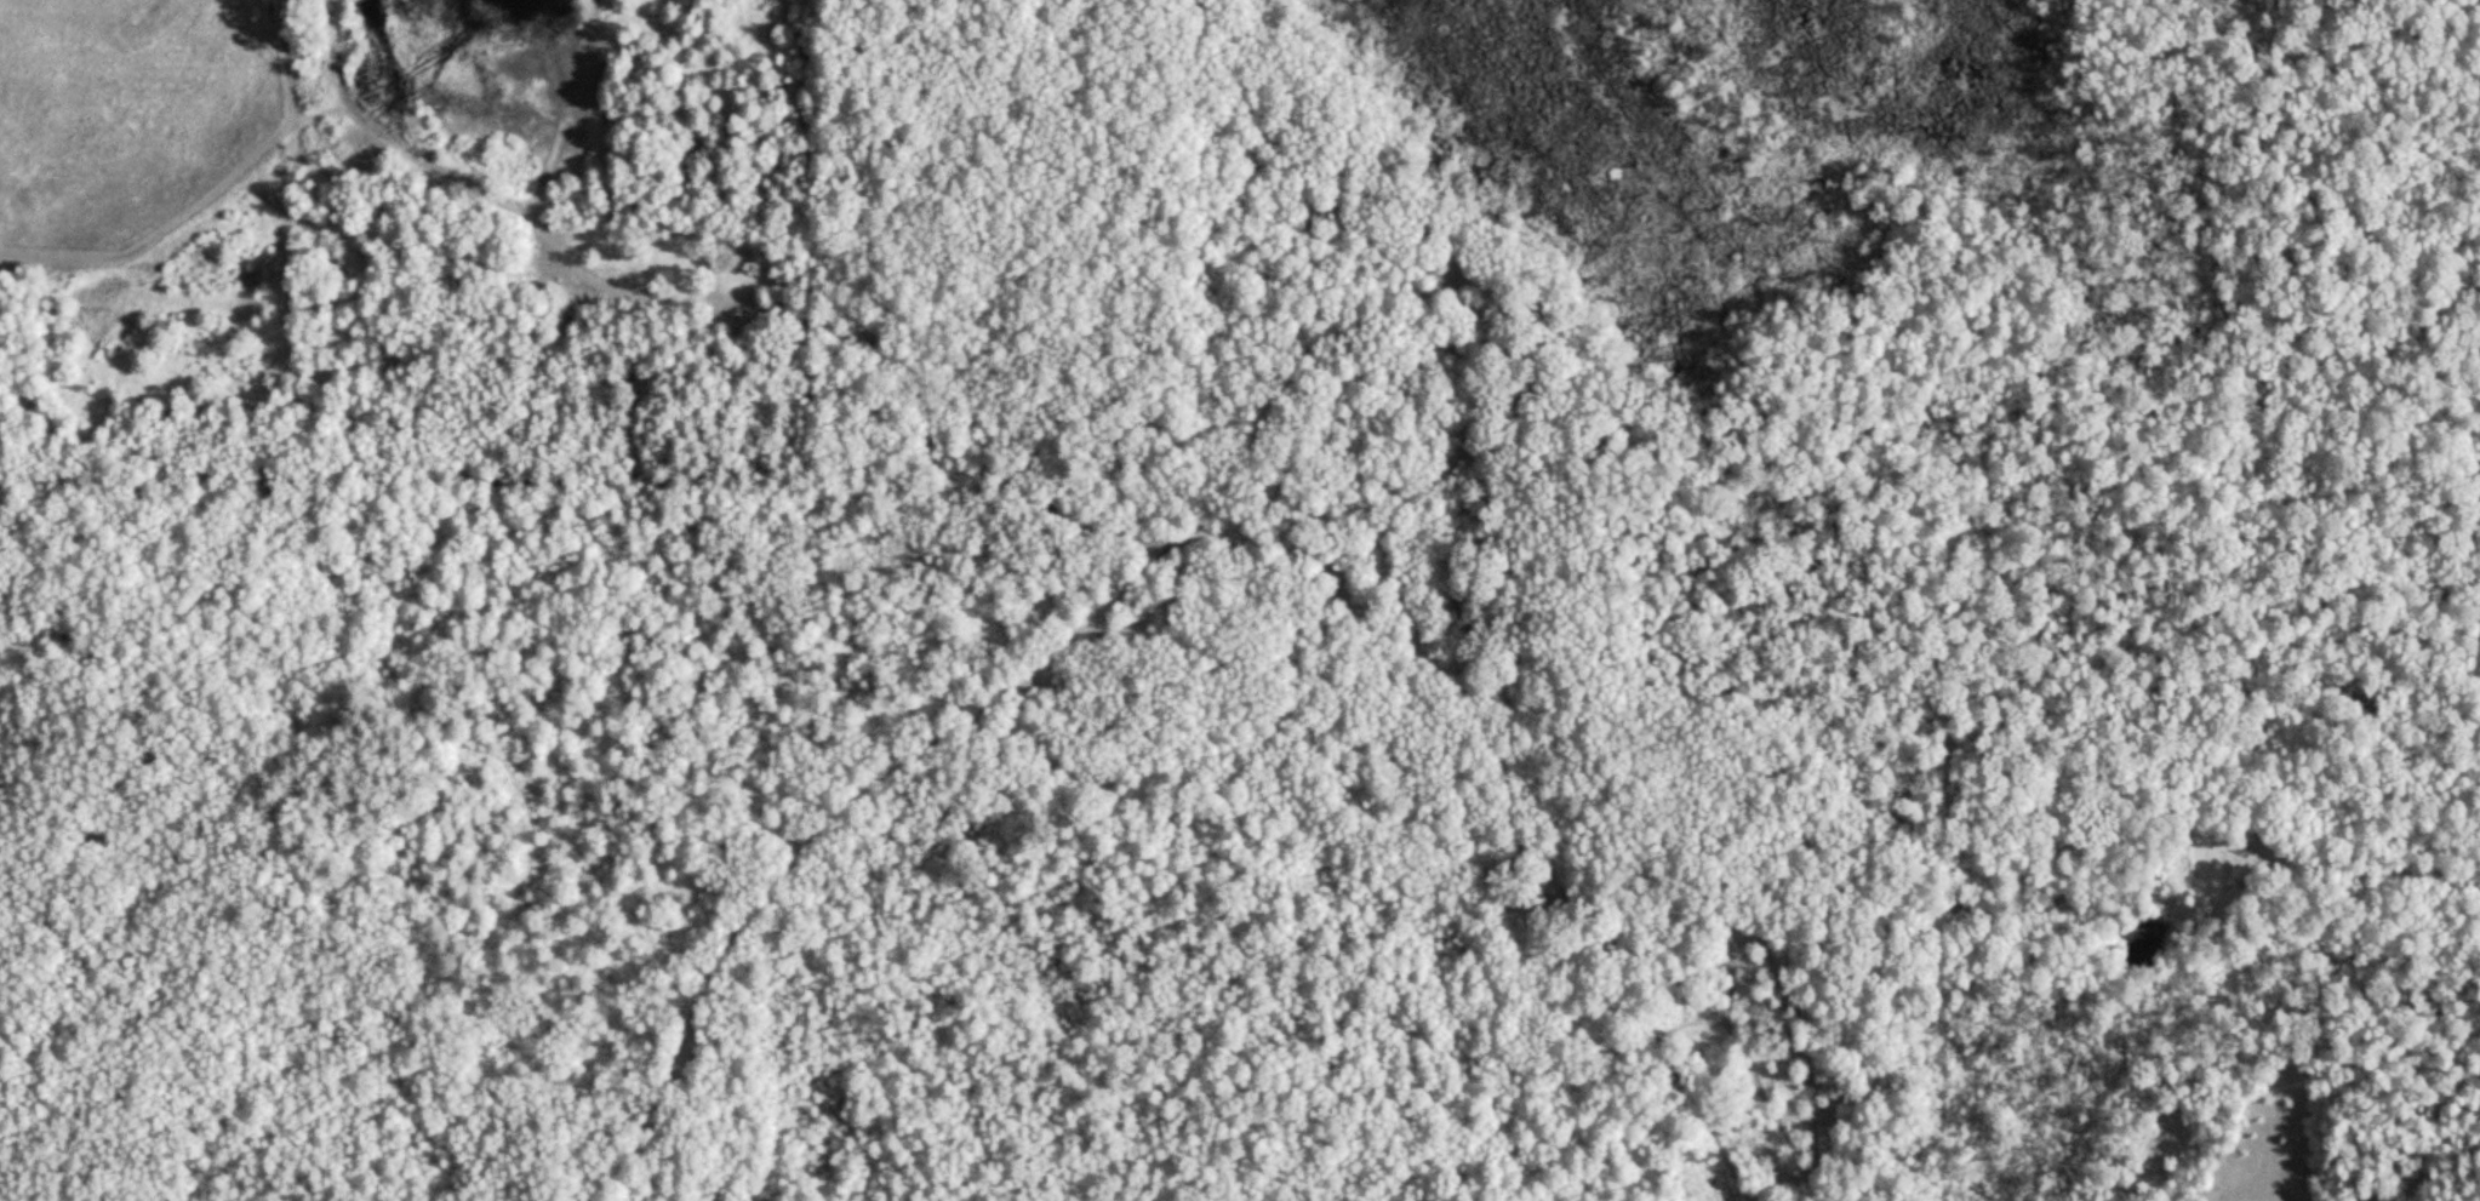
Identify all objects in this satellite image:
road: (1187, 557)
road: (823, 827)
road: (2051, 933)

